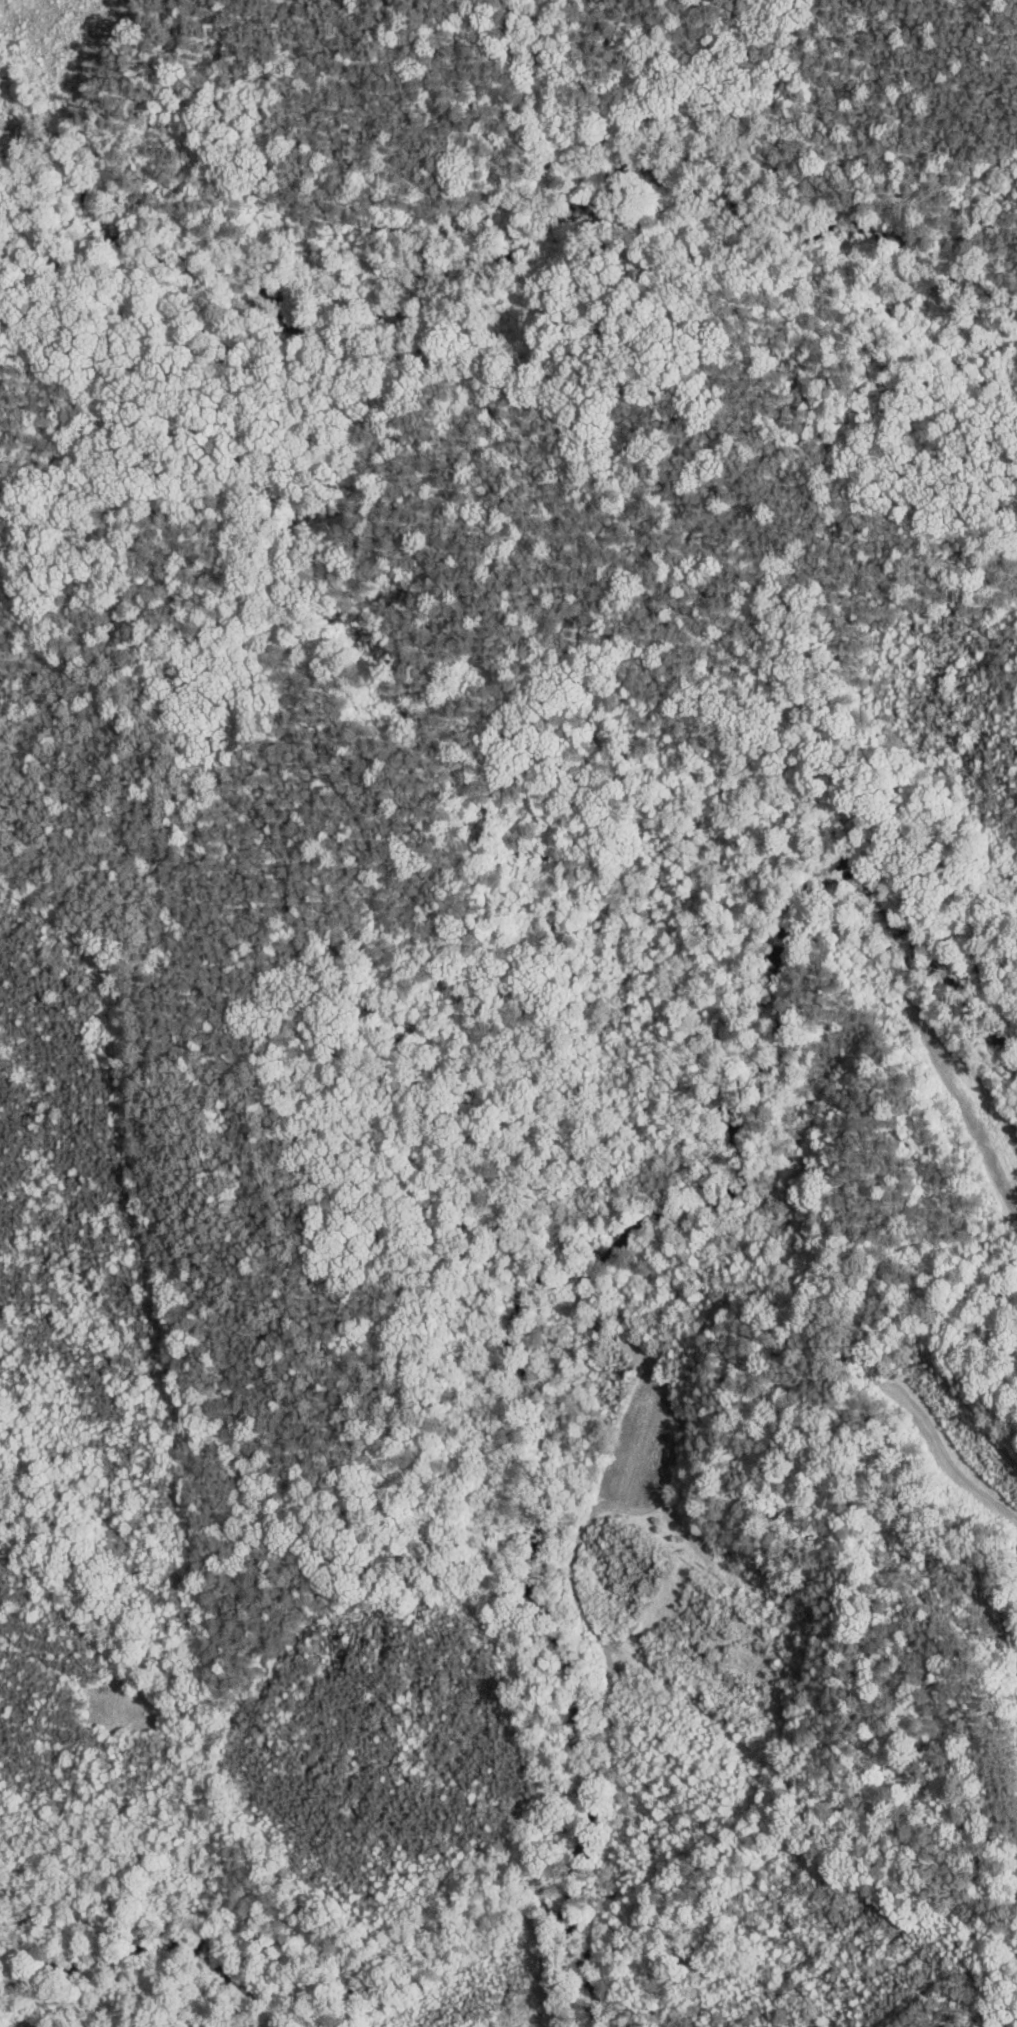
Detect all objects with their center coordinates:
road: (992, 1622)

